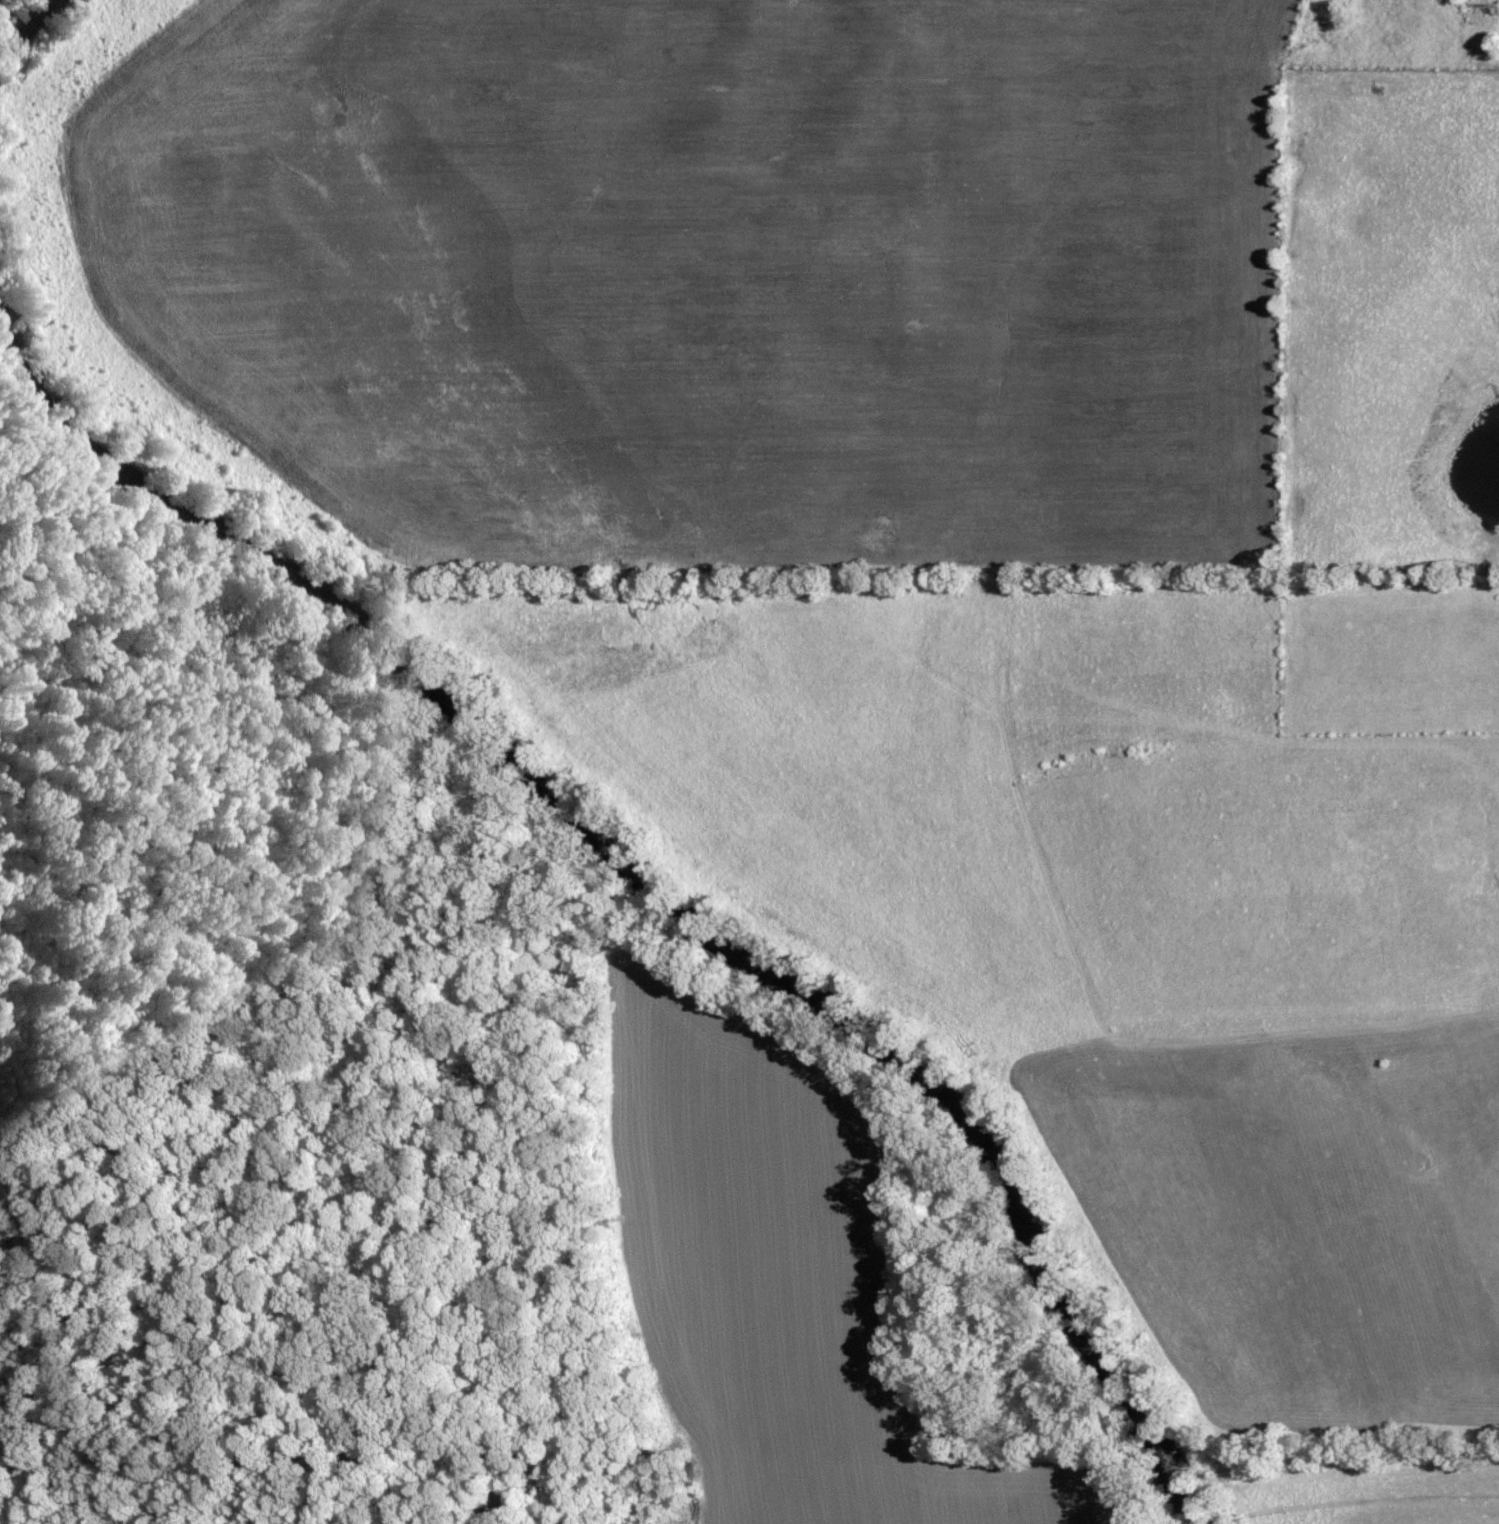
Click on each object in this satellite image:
river: (16, 28)
road: (1394, 124)
river: (664, 832)

